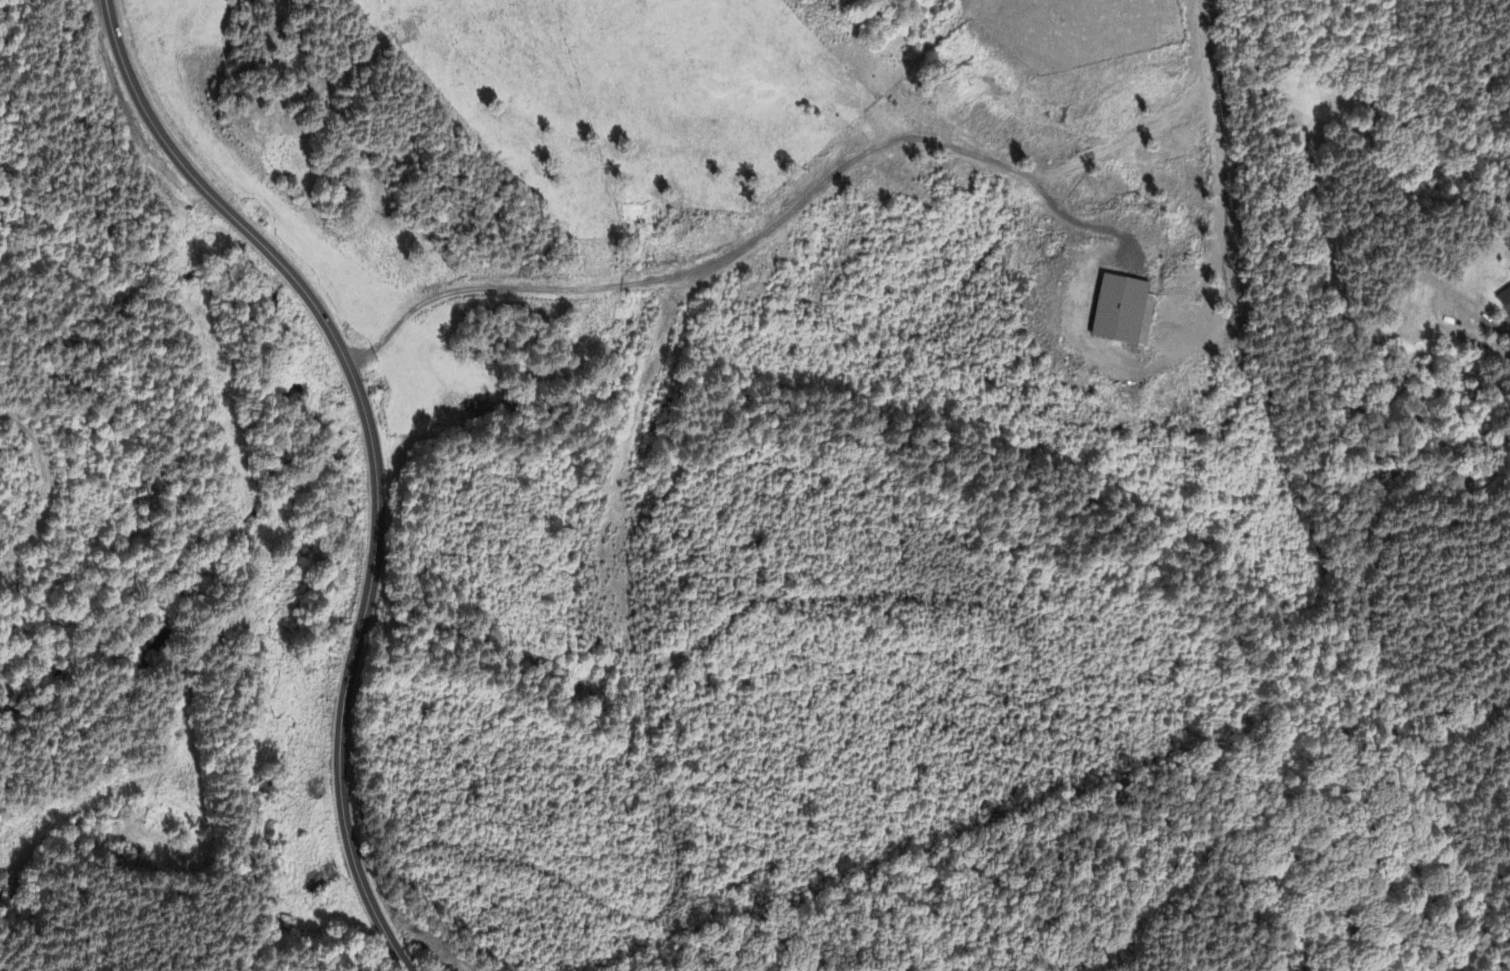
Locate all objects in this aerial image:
road: (1159, 116)
road: (748, 243)
building: (1509, 275)
building: (1504, 303)
building: (1121, 313)
road: (1507, 328)
road: (372, 452)
building: (4, 886)

